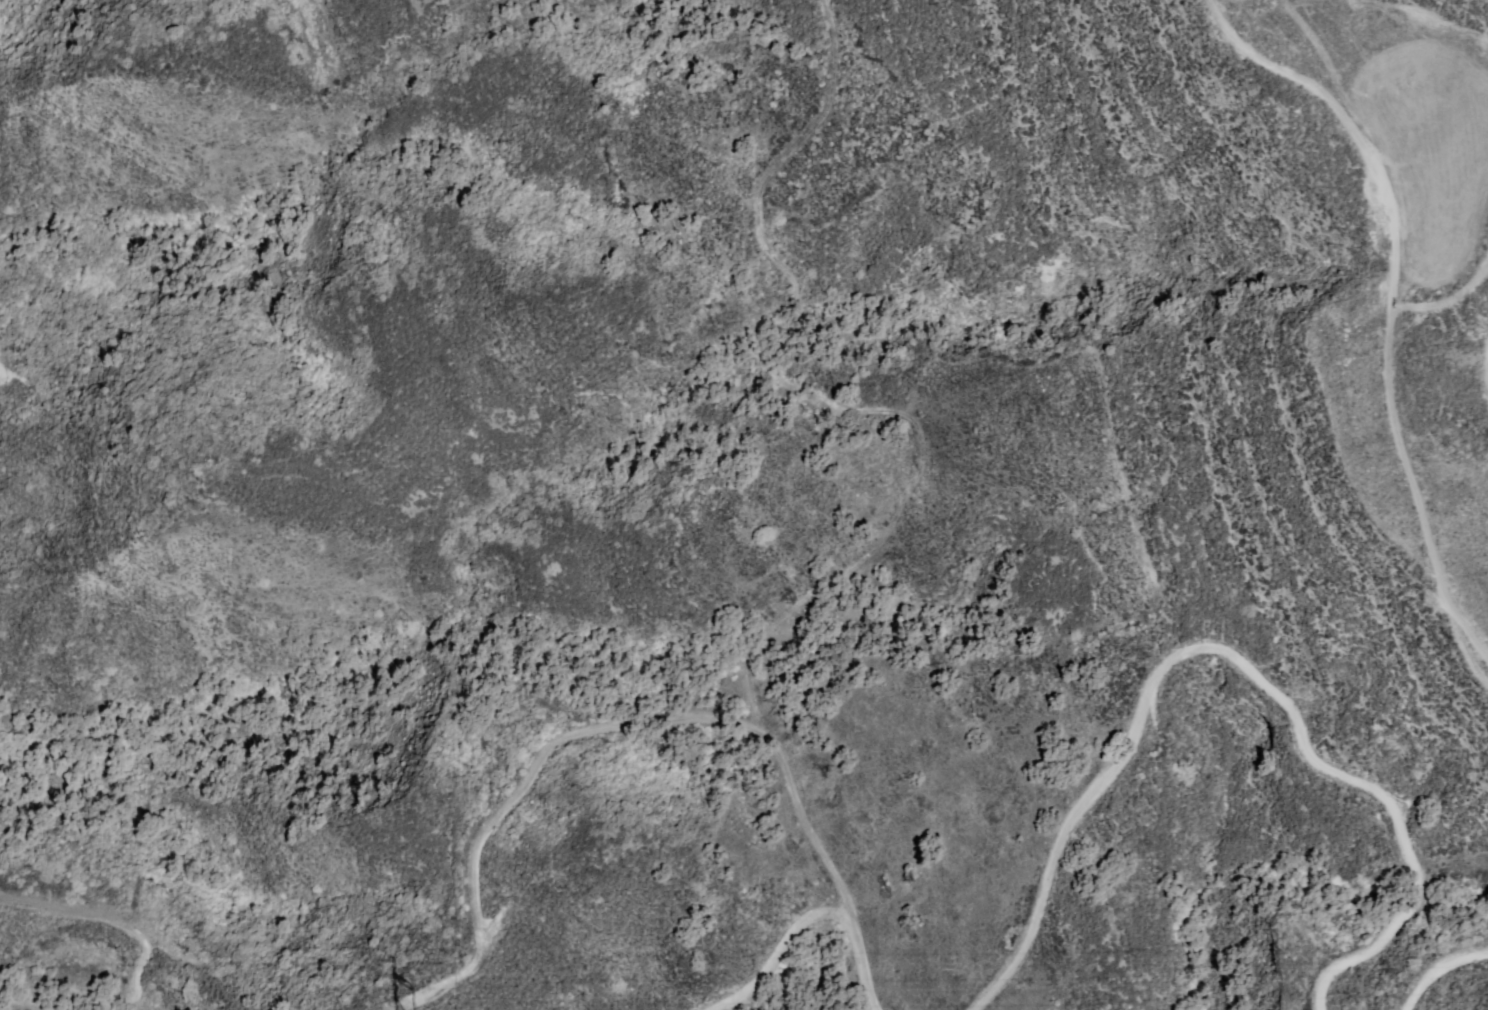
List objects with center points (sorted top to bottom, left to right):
road: (1373, 318)
road: (1234, 657)
road: (675, 719)
road: (150, 949)
road: (764, 949)
road: (1436, 970)
power tower: (397, 992)

